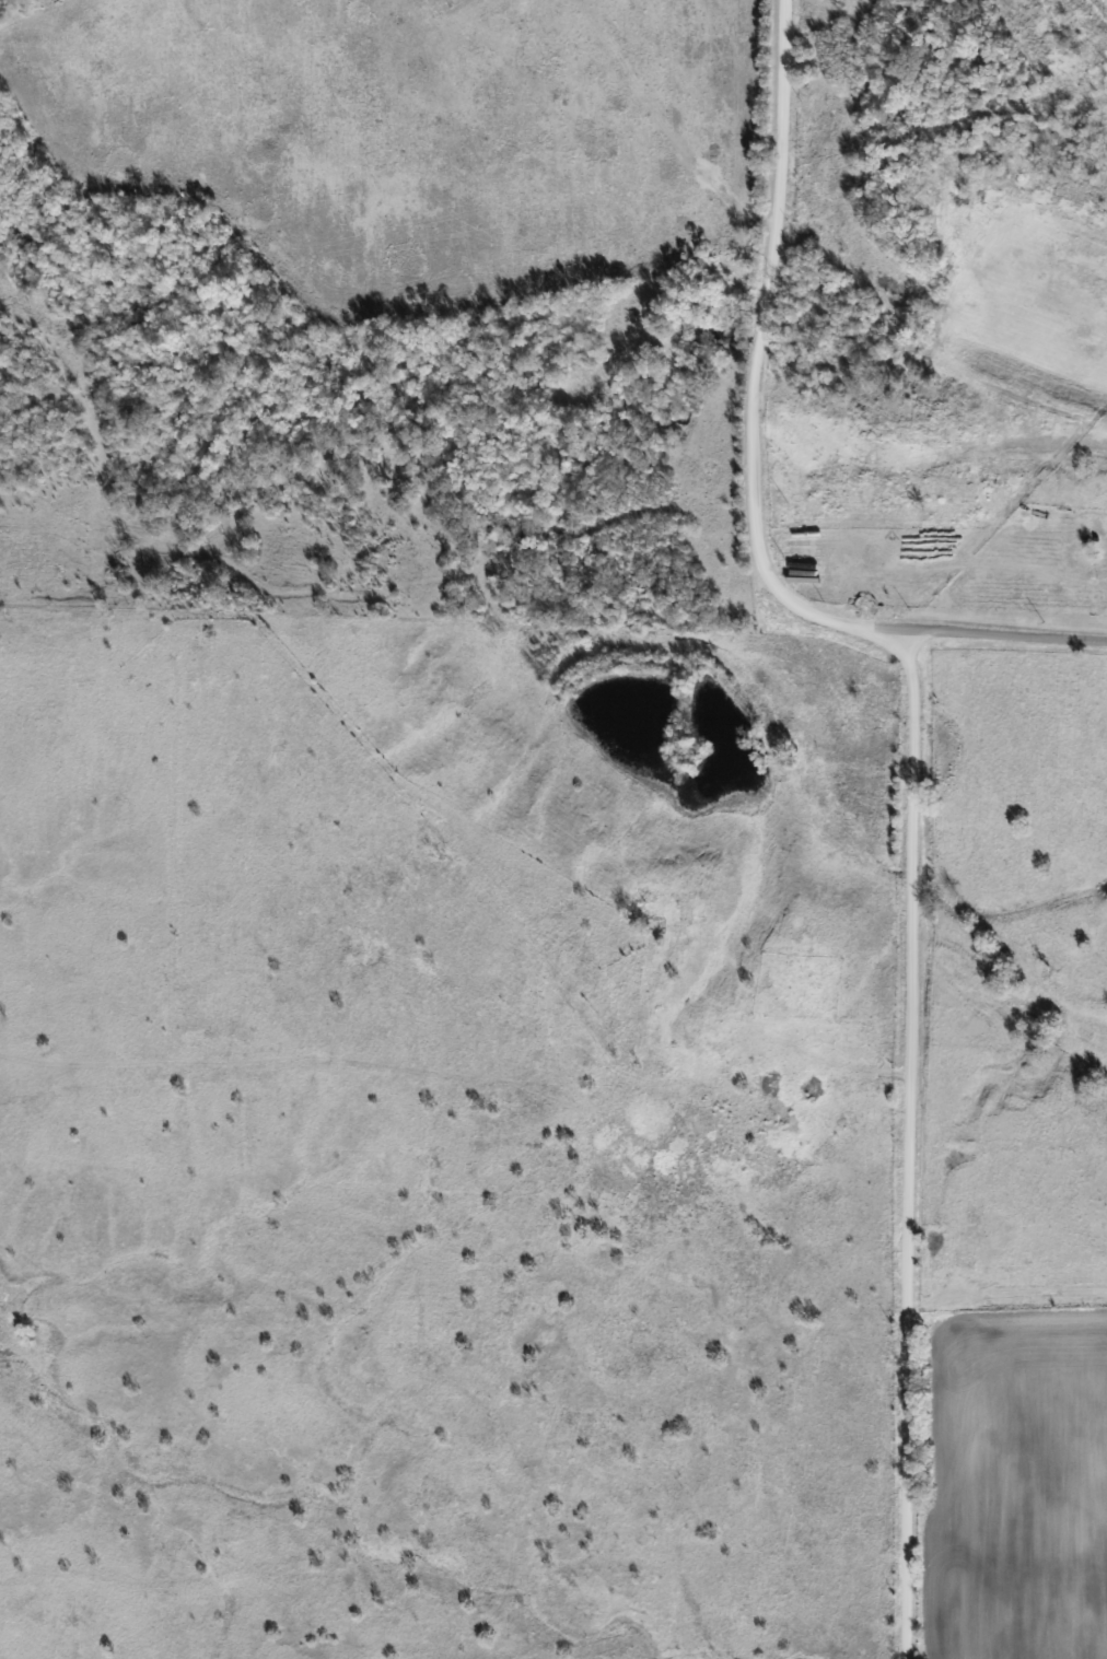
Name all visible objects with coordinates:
road: (760, 358)
road: (995, 632)
road: (909, 1145)

